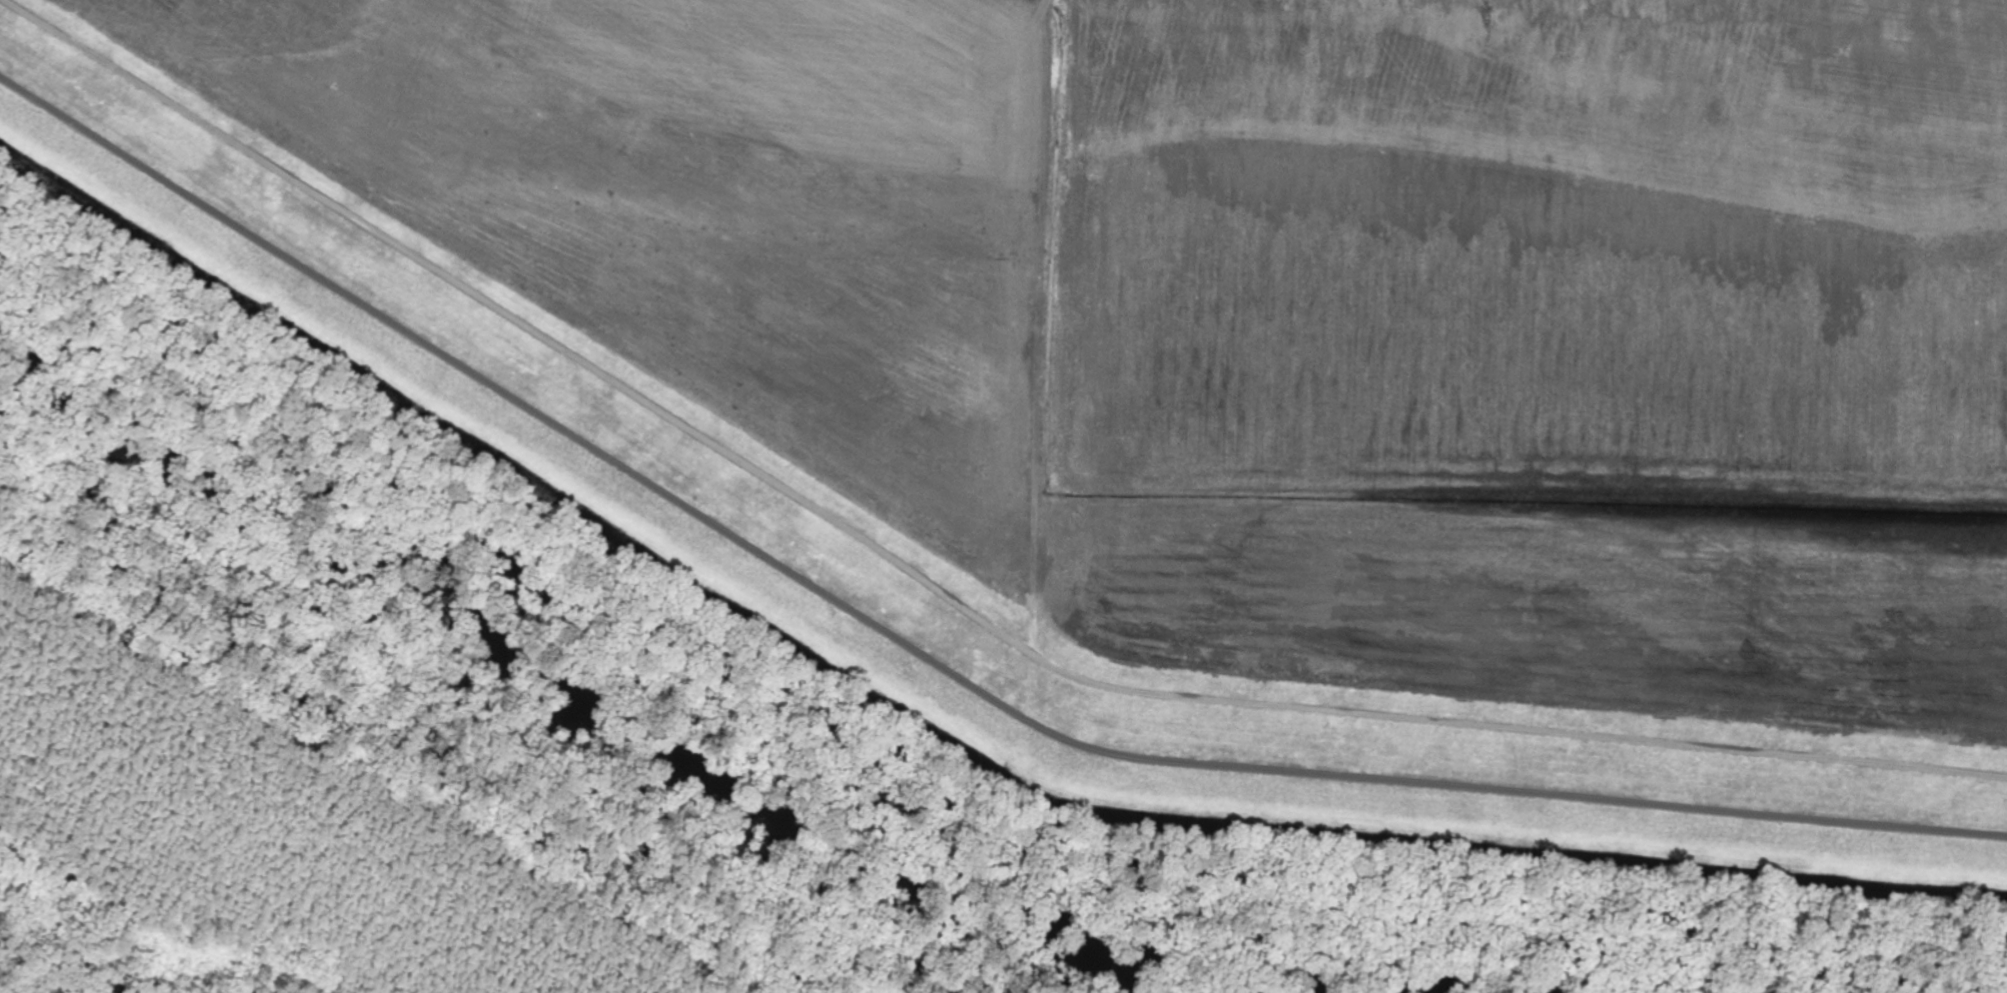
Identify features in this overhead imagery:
road: (1039, 310)
road: (937, 586)
road: (933, 661)

